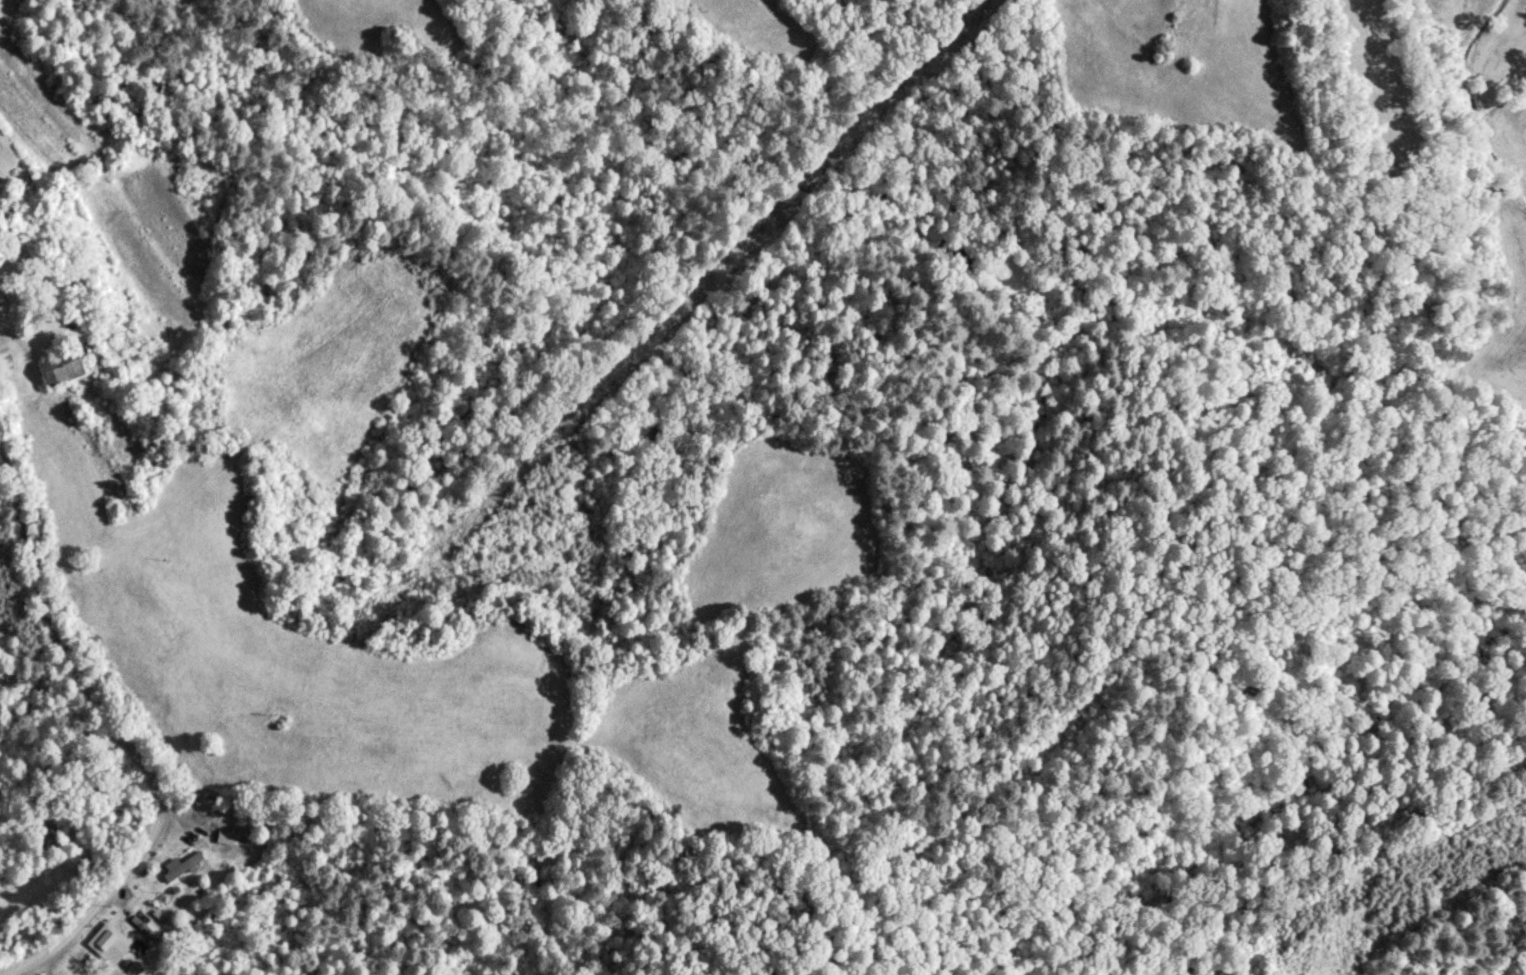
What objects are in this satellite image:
building: (63, 368)
road: (8, 539)
road: (149, 783)
building: (226, 840)
building: (181, 867)
building: (155, 925)
building: (112, 947)

